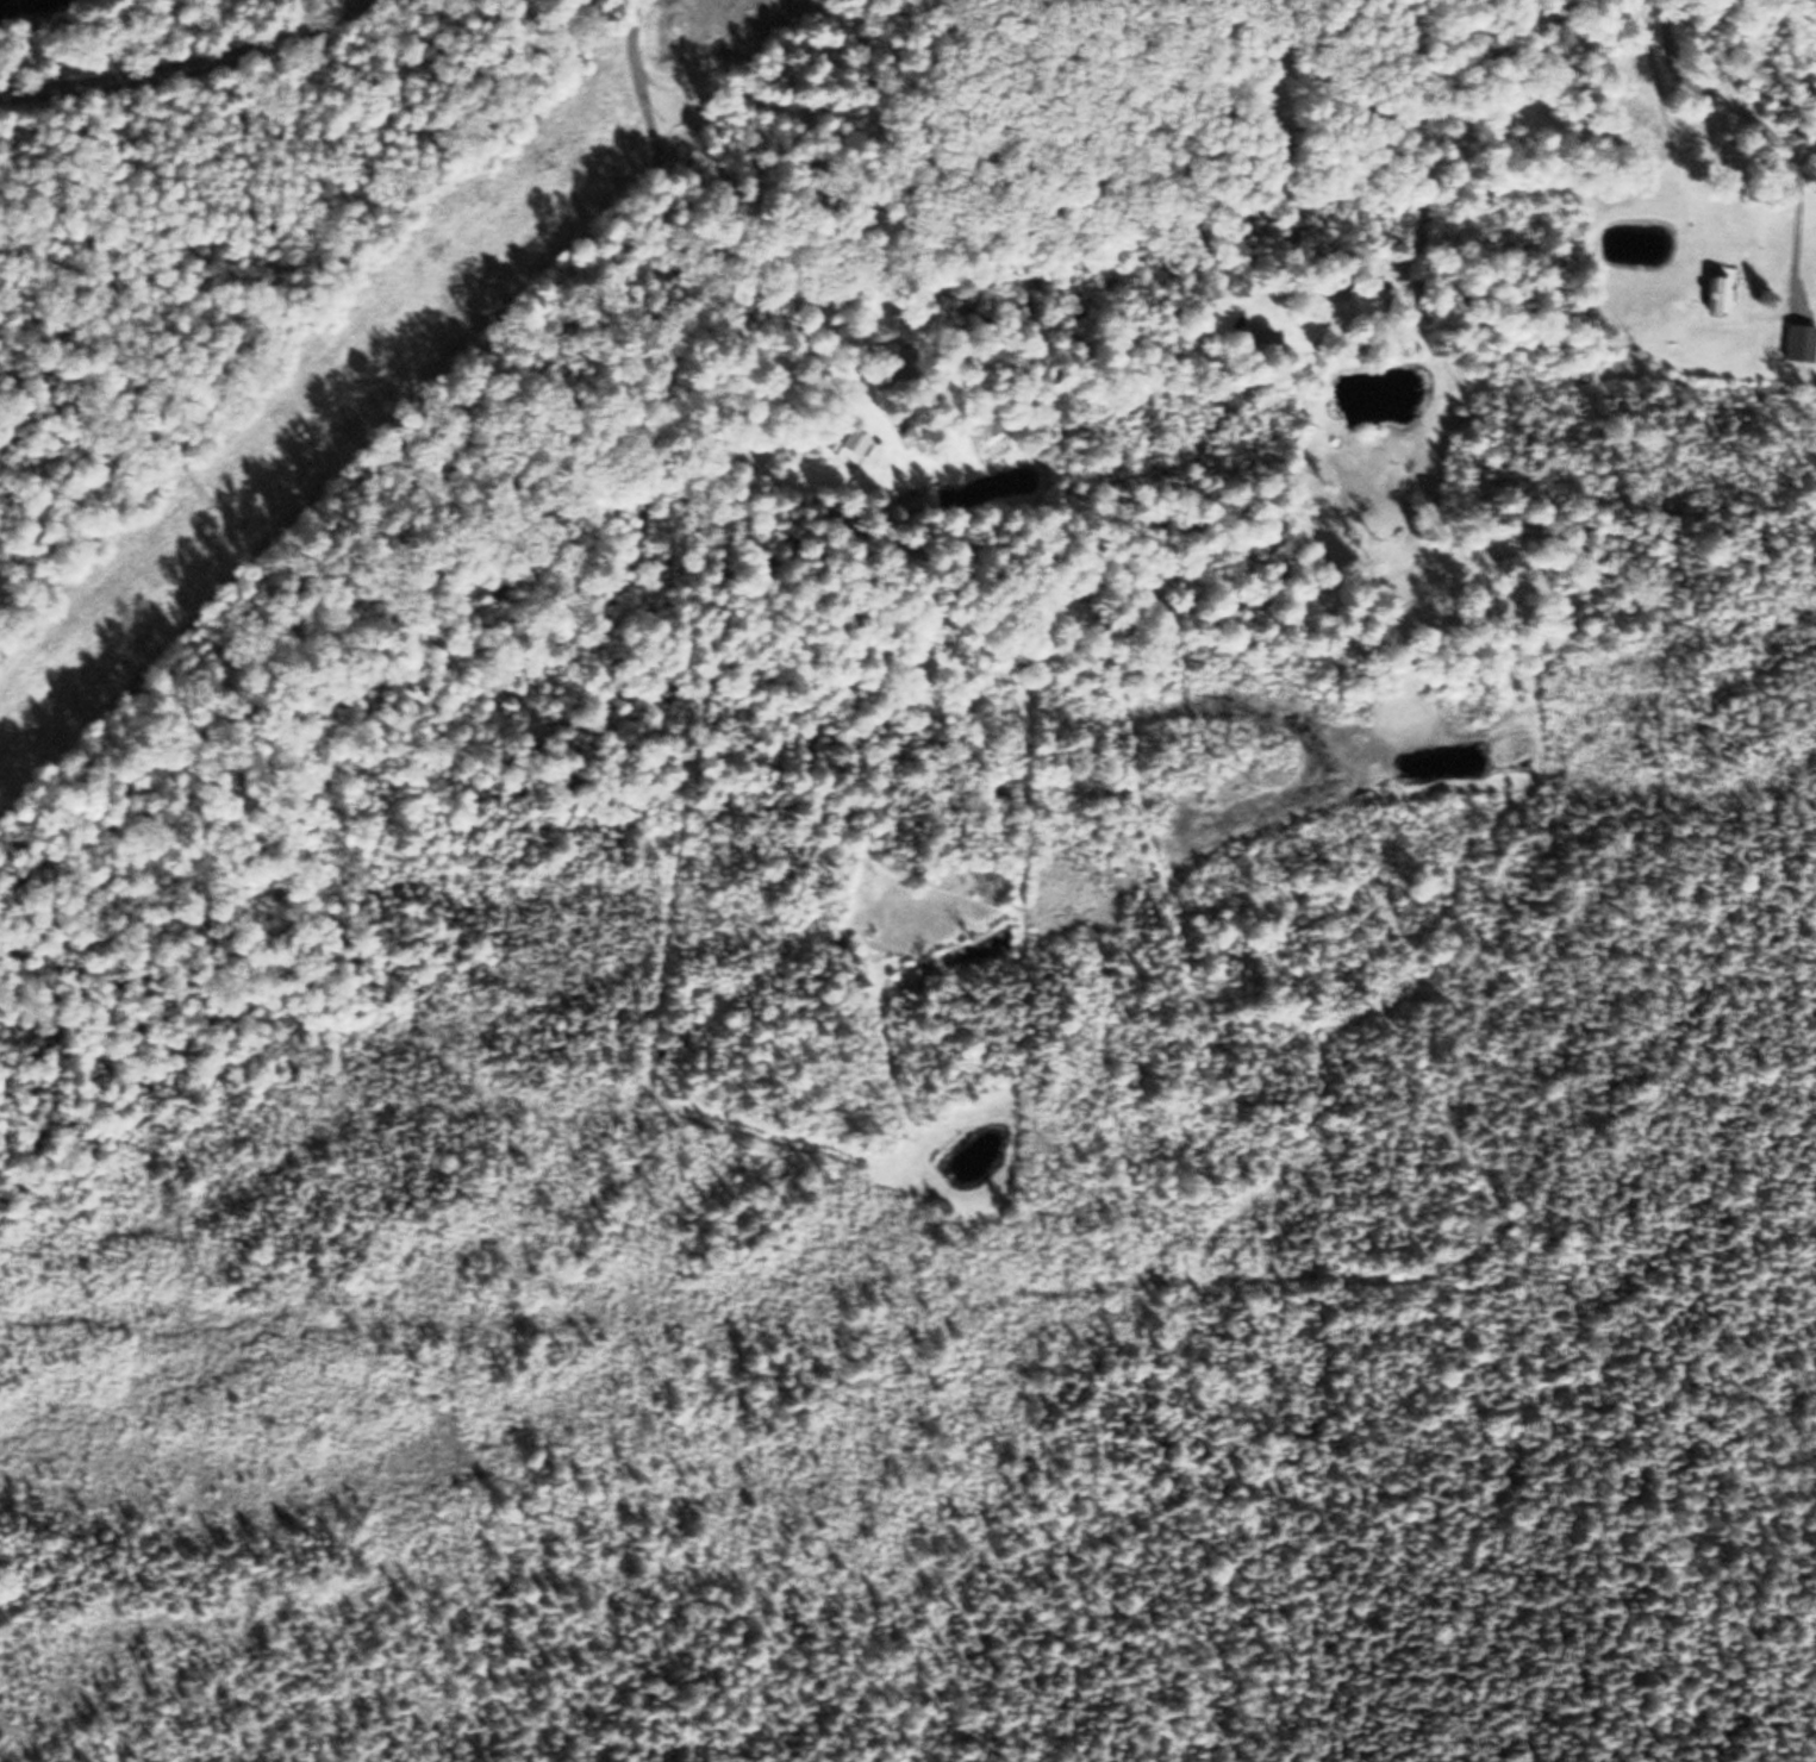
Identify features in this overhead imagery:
road: (188, 62)
road: (1771, 127)
road: (1178, 142)
power tower: (541, 158)
road: (656, 260)
building: (1711, 294)
building: (1367, 298)
building: (1253, 337)
building: (1792, 337)
building: (893, 358)
building: (848, 445)
power tower: (201, 502)

